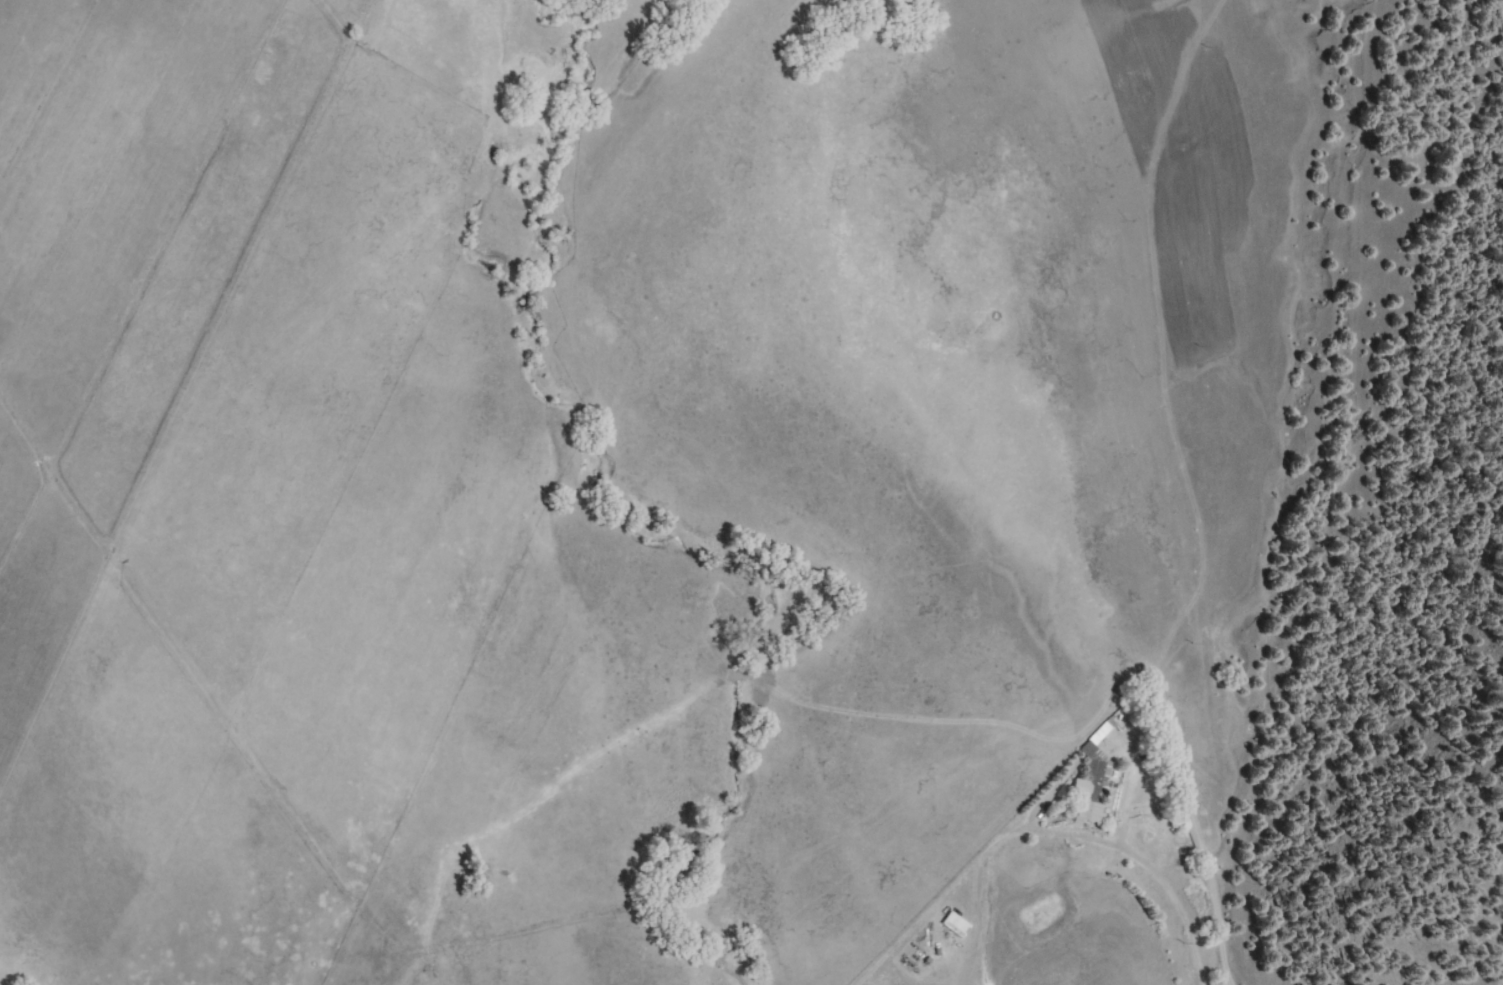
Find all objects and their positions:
building: (1087, 788)

